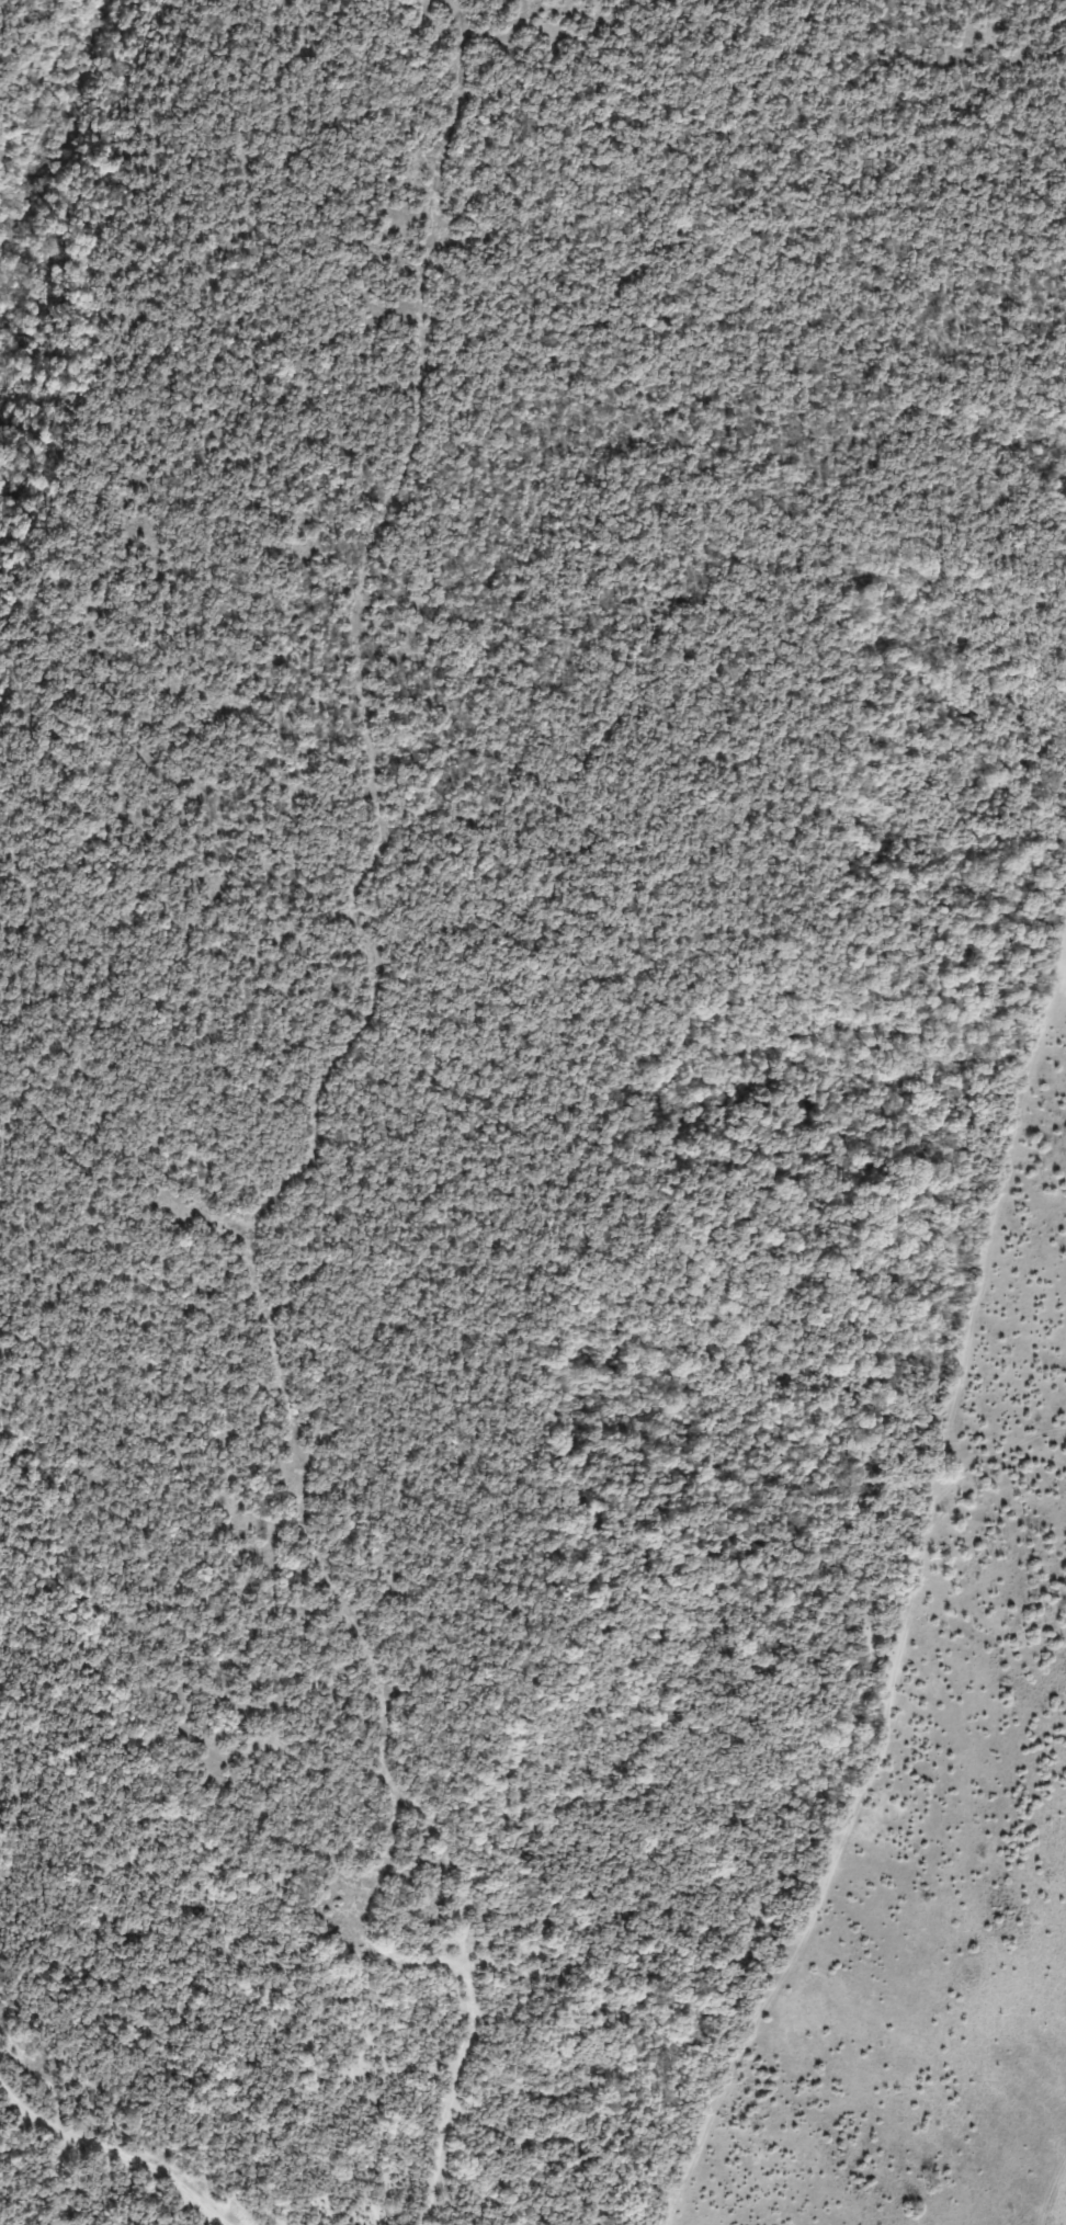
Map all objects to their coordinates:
road: (374, 1012)
road: (458, 2109)

